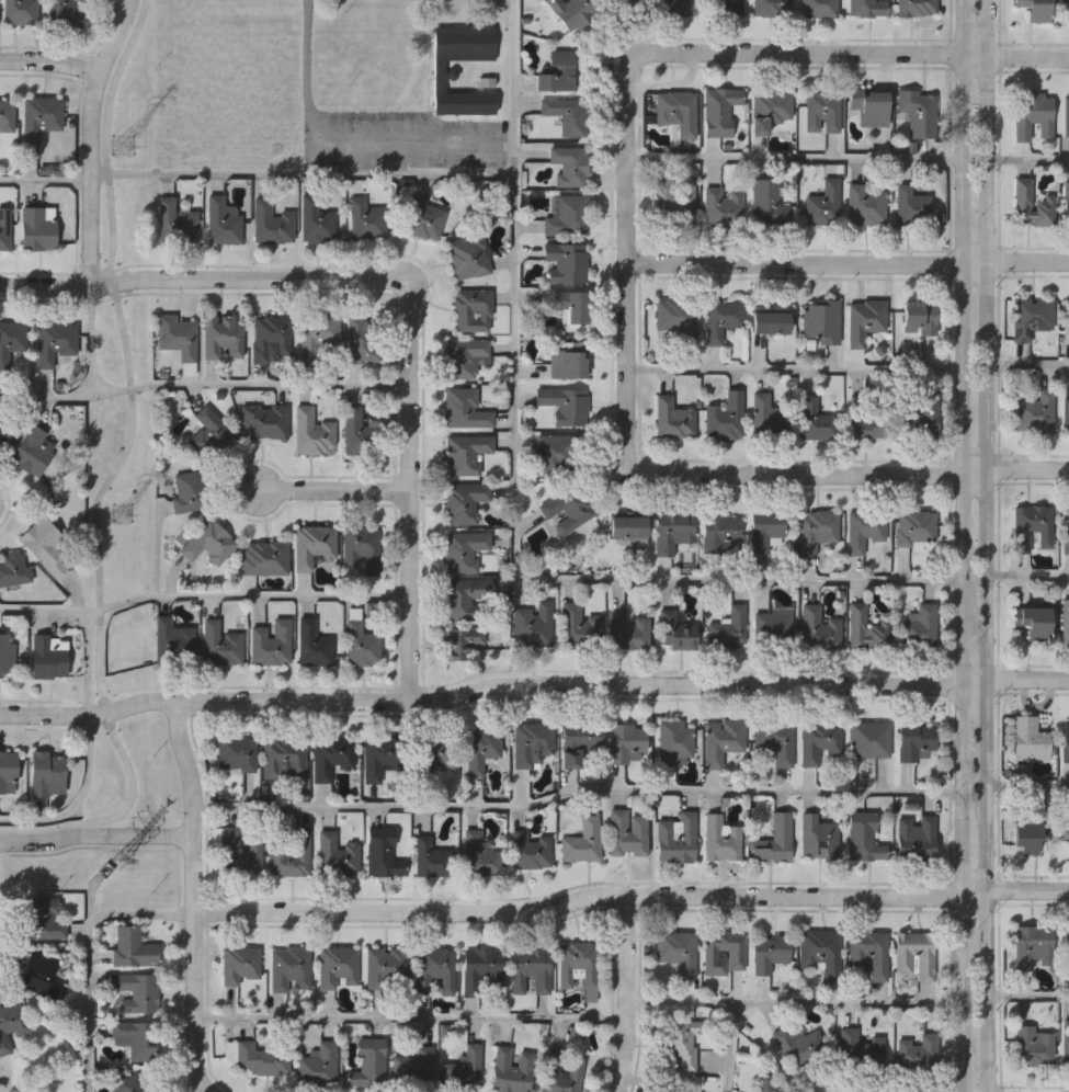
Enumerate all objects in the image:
building: (628, 2)
building: (912, 7)
building: (674, 8)
building: (724, 8)
building: (770, 8)
building: (817, 8)
building: (865, 8)
road: (113, 9)
building: (1034, 9)
building: (1067, 10)
building: (20, 11)
building: (572, 11)
building: (65, 12)
road: (855, 54)
road: (49, 59)
building: (556, 72)
building: (439, 77)
building: (675, 111)
building: (717, 111)
building: (767, 111)
building: (821, 111)
building: (873, 111)
building: (917, 114)
building: (1032, 114)
building: (566, 115)
building: (1066, 115)
building: (5, 116)
building: (38, 117)
road: (91, 138)
road: (346, 140)
power tower: (125, 146)
road: (794, 160)
road: (1026, 162)
building: (569, 166)
road: (303, 174)
road: (45, 182)
building: (671, 202)
building: (1066, 202)
building: (1032, 203)
building: (767, 204)
building: (822, 204)
building: (862, 204)
building: (720, 207)
building: (908, 207)
building: (566, 217)
building: (421, 218)
building: (220, 220)
building: (315, 220)
building: (365, 220)
building: (174, 223)
building: (270, 223)
building: (37, 227)
building: (4, 229)
road: (627, 246)
building: (467, 257)
building: (565, 261)
road: (848, 261)
road: (197, 277)
building: (473, 307)
building: (571, 307)
building: (919, 315)
building: (1031, 316)
building: (678, 317)
building: (723, 317)
building: (864, 318)
building: (822, 319)
building: (1066, 319)
building: (770, 321)
building: (318, 332)
building: (177, 334)
building: (223, 334)
building: (271, 337)
building: (361, 339)
building: (11, 340)
building: (56, 340)
road: (92, 341)
building: (464, 355)
building: (568, 360)
road: (1026, 366)
road: (795, 371)
road: (203, 386)
building: (564, 403)
building: (464, 410)
building: (1035, 412)
building: (1066, 414)
building: (726, 416)
building: (673, 417)
building: (770, 417)
building: (817, 419)
building: (865, 419)
building: (265, 420)
building: (921, 420)
building: (2, 424)
building: (312, 431)
building: (360, 432)
building: (211, 434)
building: (31, 450)
building: (466, 452)
building: (557, 452)
road: (841, 469)
road: (114, 471)
road: (409, 488)
road: (333, 489)
building: (189, 490)
building: (465, 501)
building: (569, 507)
road: (516, 508)
power tower: (123, 514)
building: (1032, 525)
building: (629, 527)
building: (766, 527)
building: (864, 527)
building: (914, 527)
building: (1065, 527)
building: (818, 528)
building: (673, 530)
building: (719, 531)
building: (208, 542)
building: (44, 544)
building: (312, 545)
building: (362, 546)
road: (962, 546)
road: (983, 546)
building: (464, 548)
building: (265, 557)
building: (13, 569)
road: (1026, 575)
road: (248, 596)
building: (466, 598)
road: (90, 617)
building: (1033, 621)
building: (1065, 621)
building: (533, 625)
building: (921, 625)
building: (580, 626)
building: (866, 627)
building: (729, 628)
building: (773, 628)
building: (820, 628)
building: (629, 630)
building: (676, 630)
building: (173, 640)
building: (462, 640)
building: (272, 641)
building: (221, 642)
building: (312, 642)
building: (362, 644)
building: (5, 653)
building: (47, 656)
road: (532, 683)
building: (1028, 737)
building: (869, 739)
building: (916, 739)
building: (724, 740)
building: (1065, 740)
building: (673, 741)
building: (819, 741)
building: (577, 742)
building: (625, 742)
building: (775, 742)
building: (532, 744)
building: (482, 750)
building: (237, 753)
building: (433, 755)
building: (331, 757)
building: (382, 757)
building: (282, 758)
building: (7, 769)
building: (46, 773)
road: (1026, 788)
road: (576, 794)
road: (79, 798)
building: (1065, 830)
building: (626, 833)
road: (95, 834)
building: (1027, 835)
building: (917, 837)
building: (675, 838)
building: (719, 838)
building: (817, 838)
building: (863, 838)
building: (776, 840)
building: (582, 841)
building: (531, 848)
building: (240, 851)
building: (384, 851)
building: (338, 854)
building: (480, 854)
building: (293, 856)
building: (432, 861)
power tower: (118, 863)
road: (630, 895)
road: (193, 896)
building: (45, 918)
building: (1034, 946)
building: (1066, 946)
building: (132, 947)
building: (678, 951)
building: (820, 951)
building: (736, 953)
building: (769, 953)
building: (916, 953)
road: (89, 955)
building: (855, 962)
building: (241, 964)
building: (576, 964)
building: (337, 965)
building: (385, 966)
building: (289, 967)
building: (481, 968)
building: (434, 969)
building: (530, 970)
building: (41, 971)
building: (134, 990)
road: (626, 993)
road: (1027, 1000)
road: (795, 1003)
road: (410, 1019)
building: (11, 1025)
building: (134, 1038)
building: (1066, 1040)
building: (682, 1044)
building: (798, 1045)
building: (1033, 1045)
road: (730, 1048)
building: (861, 1048)
building: (918, 1054)
building: (264, 1059)
building: (319, 1065)
building: (369, 1065)
building: (464, 1067)
building: (413, 1069)
building: (511, 1070)
building: (560, 1073)
building: (128, 1083)
building: (767, 1083)
building: (668, 1089)

